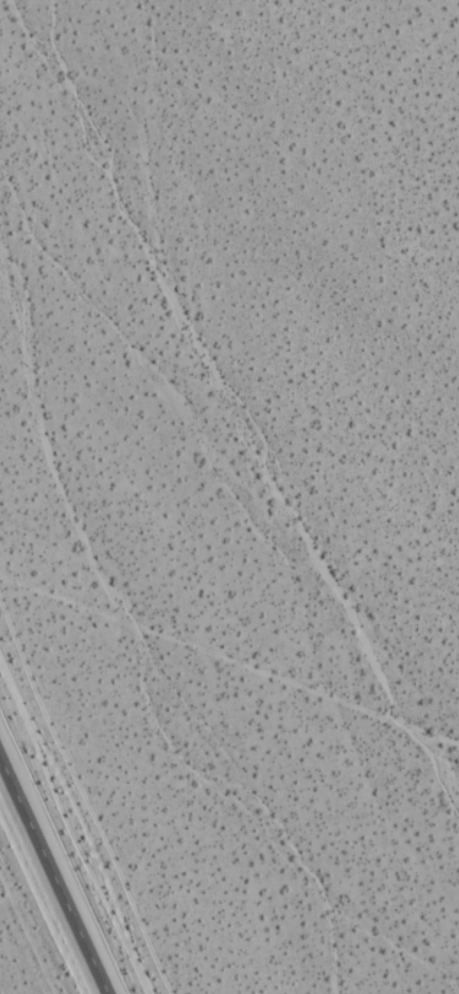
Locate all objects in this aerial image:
road: (53, 876)

